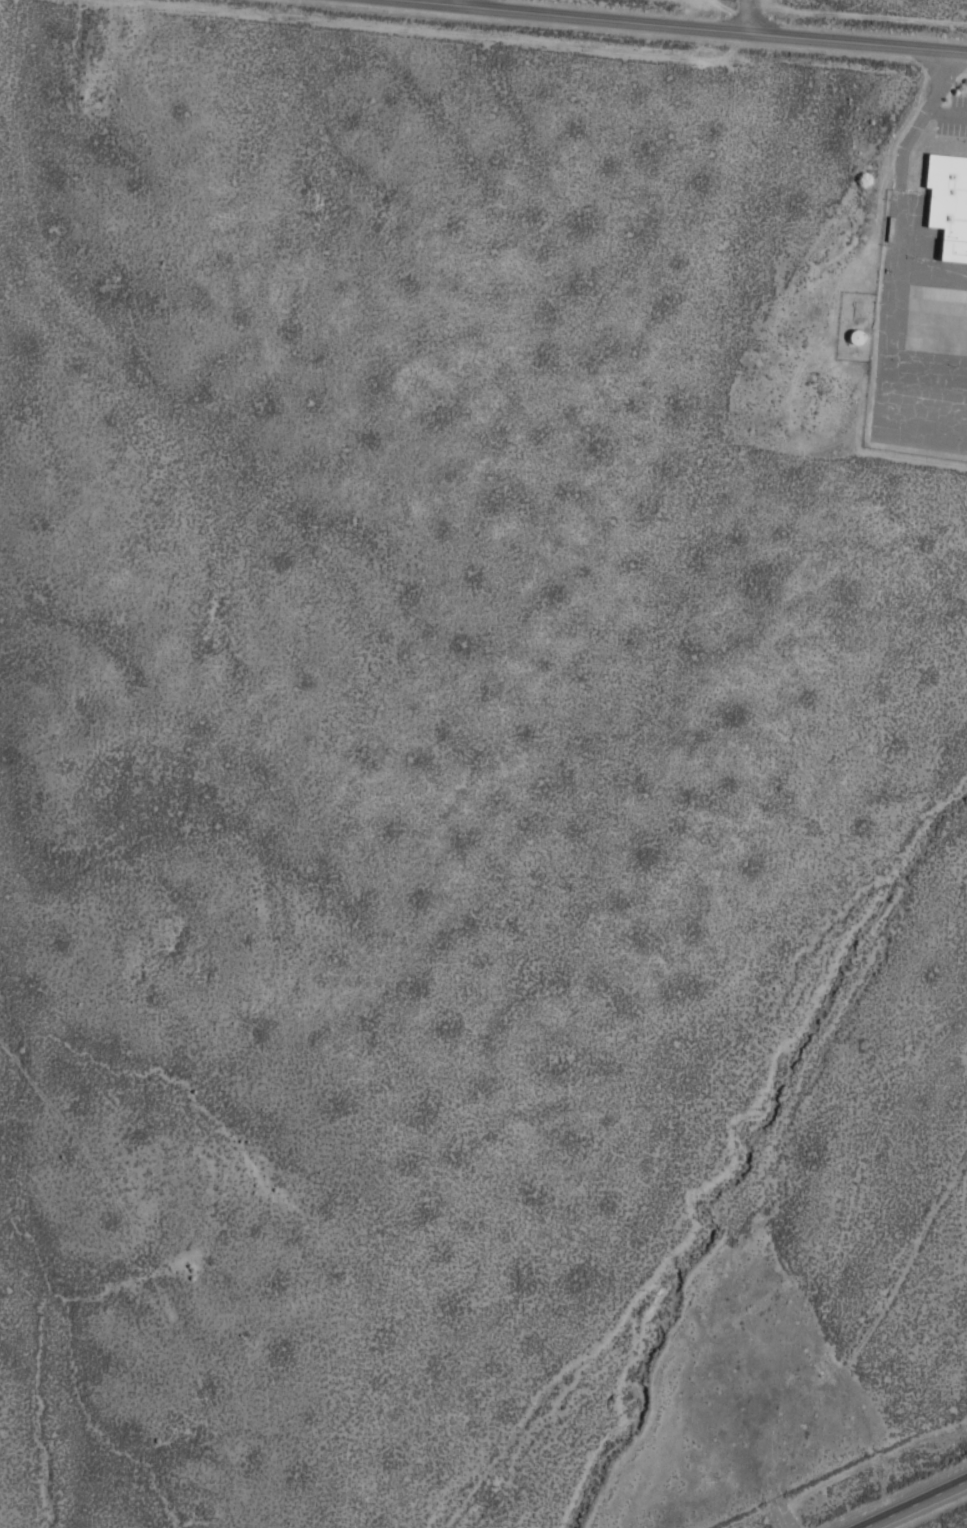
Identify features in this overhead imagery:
road: (455, 1)
road: (747, 15)
road: (694, 25)
parking lot: (954, 125)
building: (950, 214)
building: (851, 335)
storage tank: (851, 335)
road: (913, 1503)

